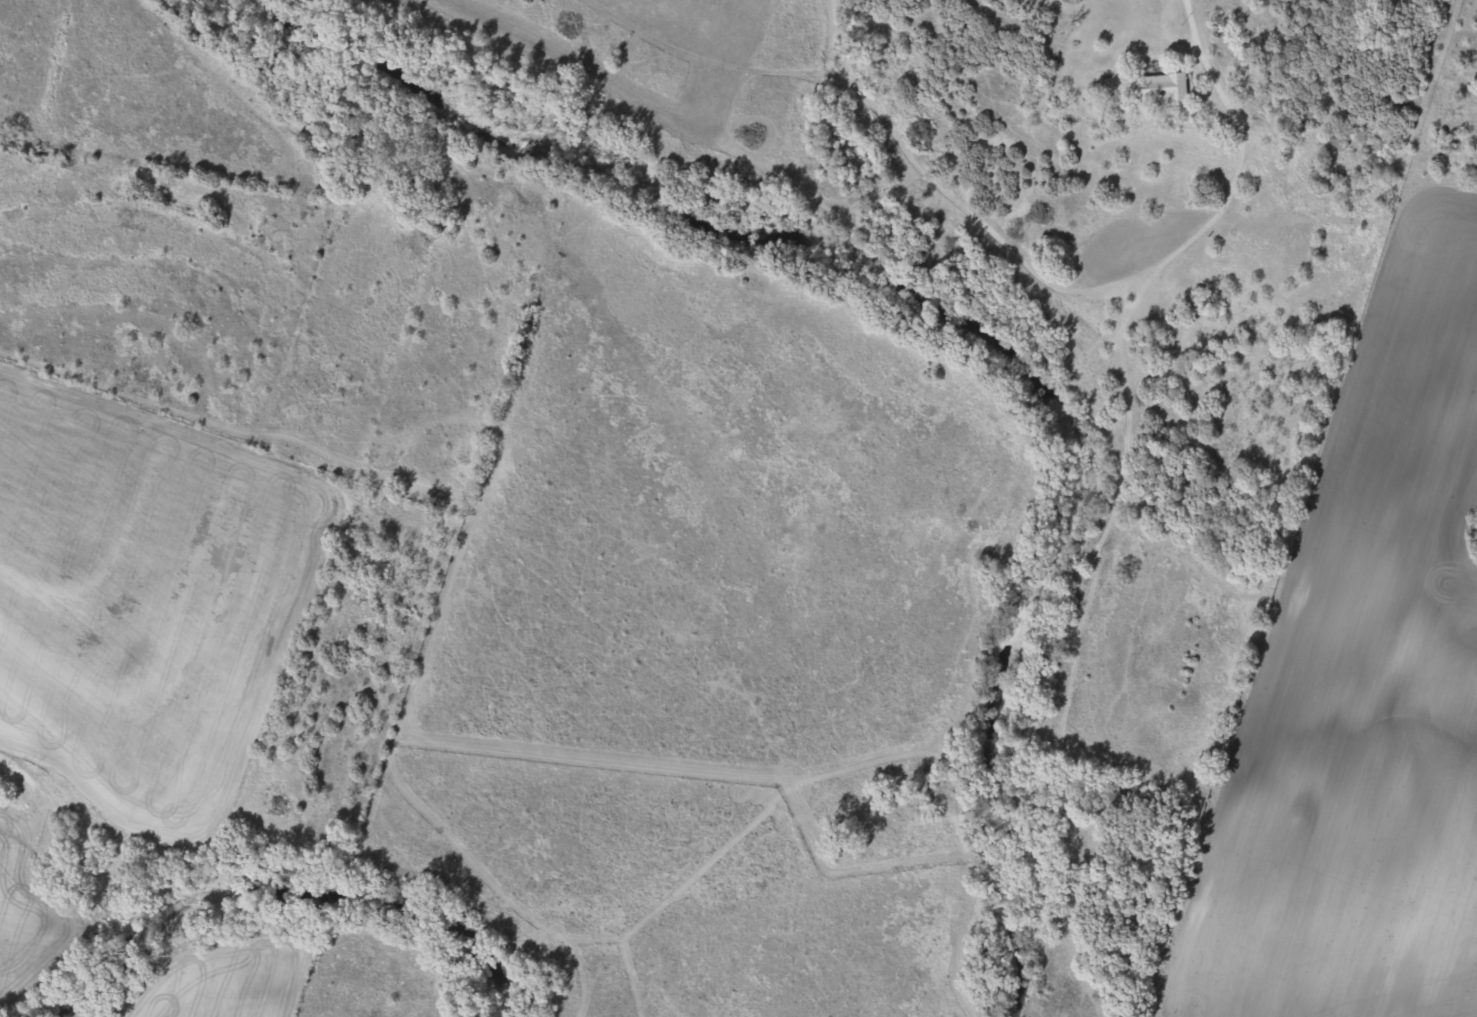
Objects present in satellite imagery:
building: (1163, 85)
road: (1211, 92)
building: (1337, 136)

